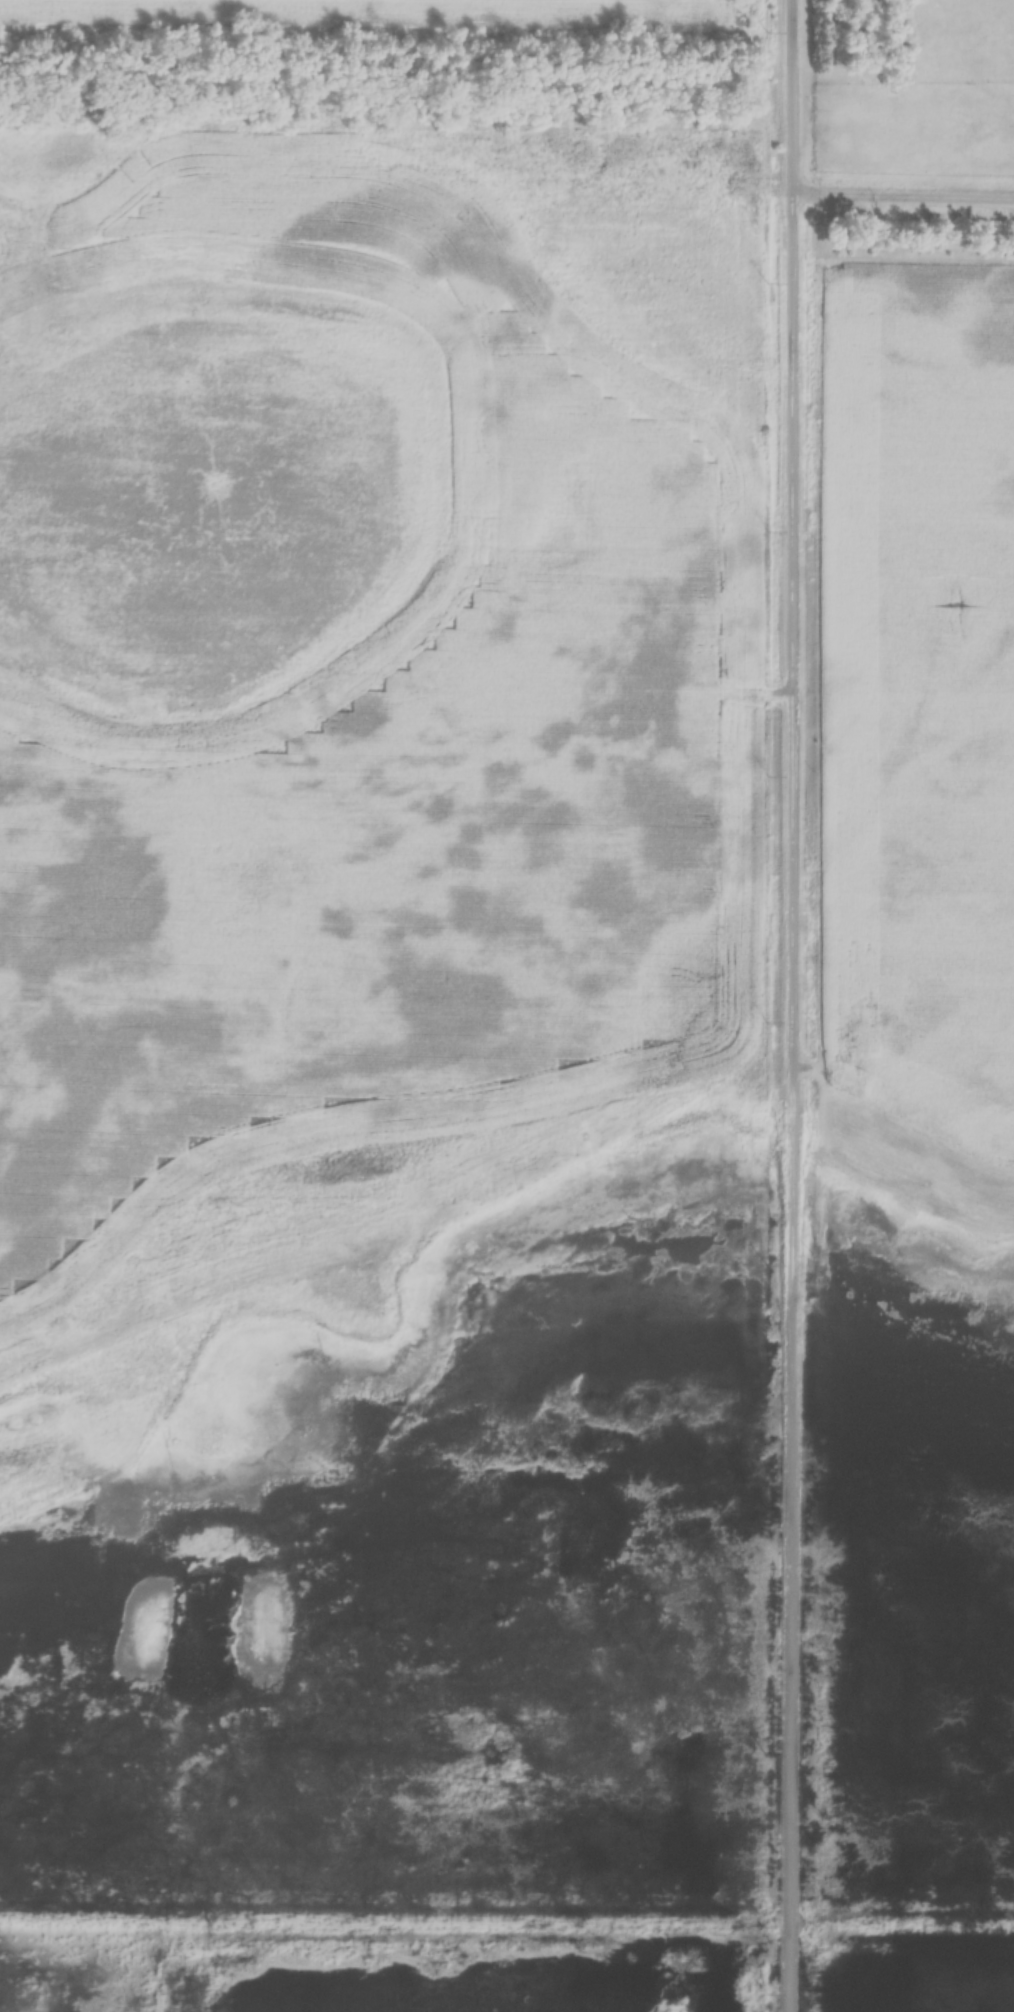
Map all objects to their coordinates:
road: (904, 196)
road: (794, 1006)

